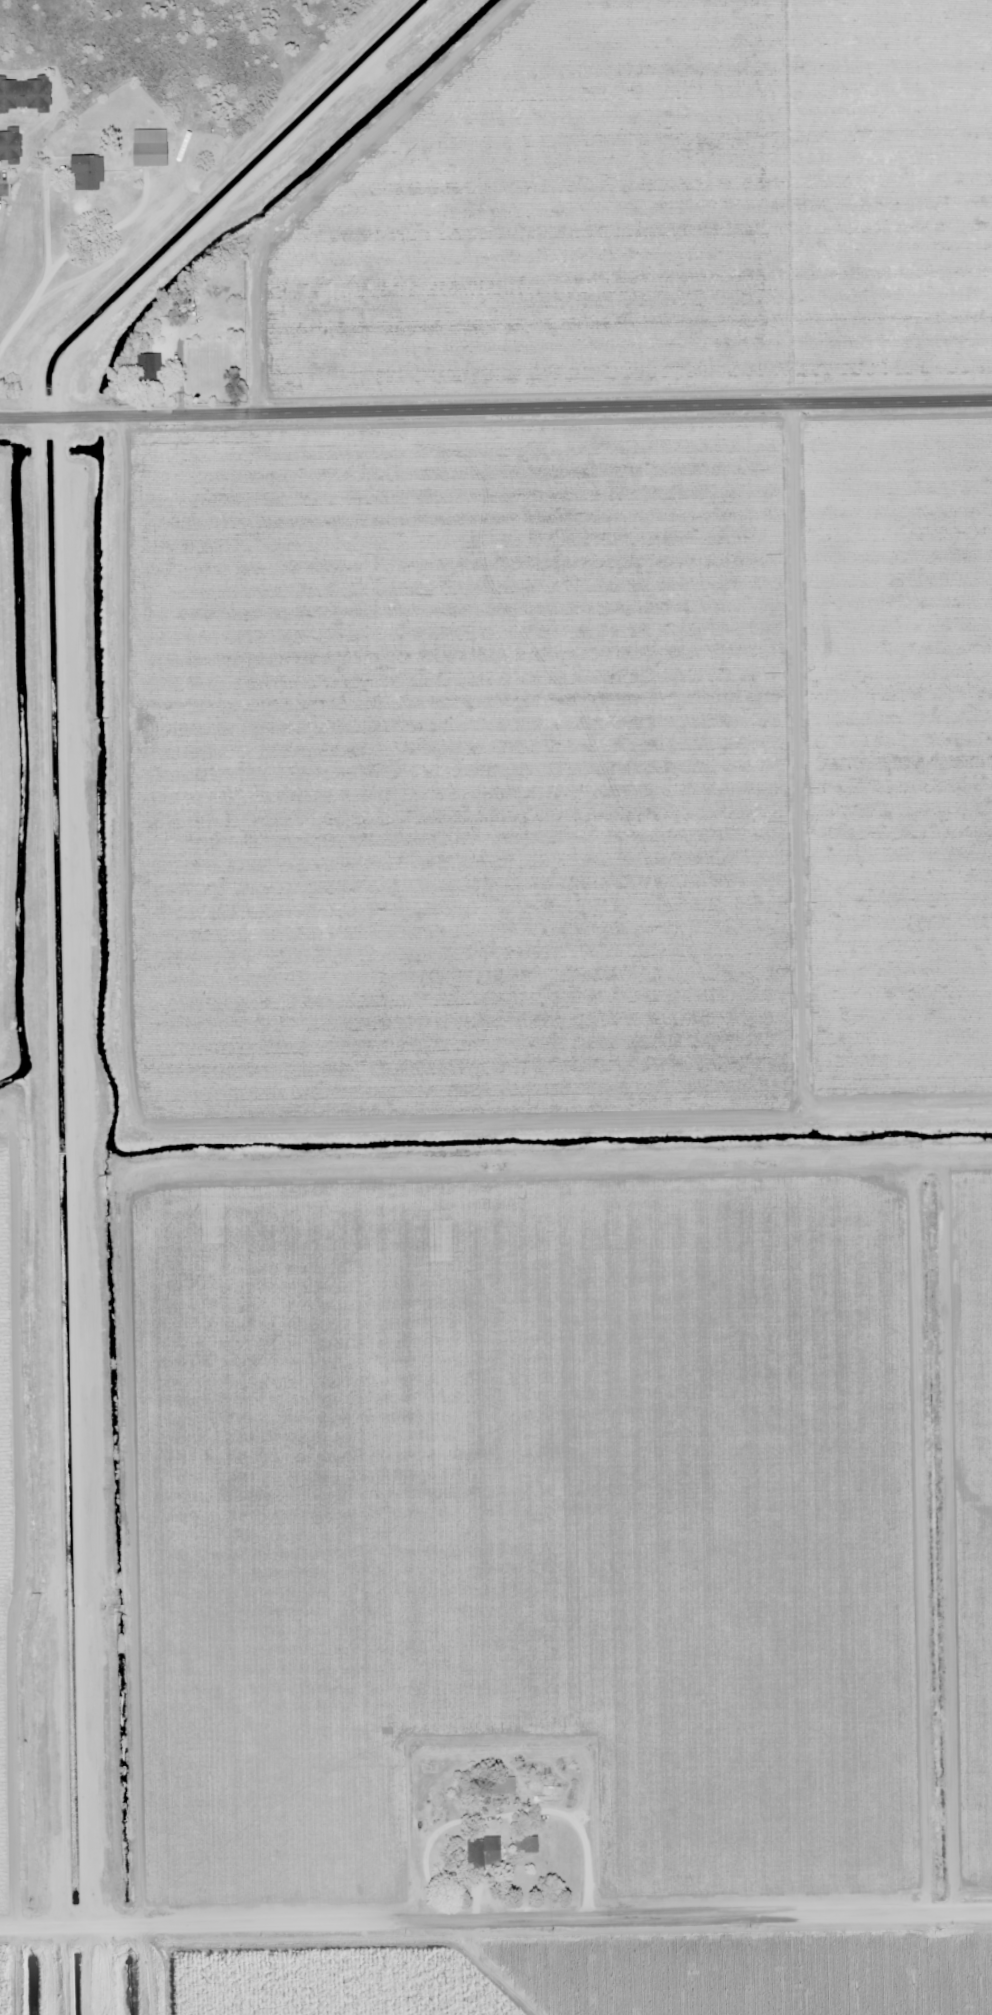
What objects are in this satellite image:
building: (24, 94)
building: (9, 147)
building: (149, 148)
building: (87, 173)
road: (27, 325)
building: (145, 378)
road: (496, 413)
railway: (496, 850)
building: (501, 1786)
building: (468, 1790)
building: (526, 1844)
building: (482, 1852)
road: (496, 1921)

